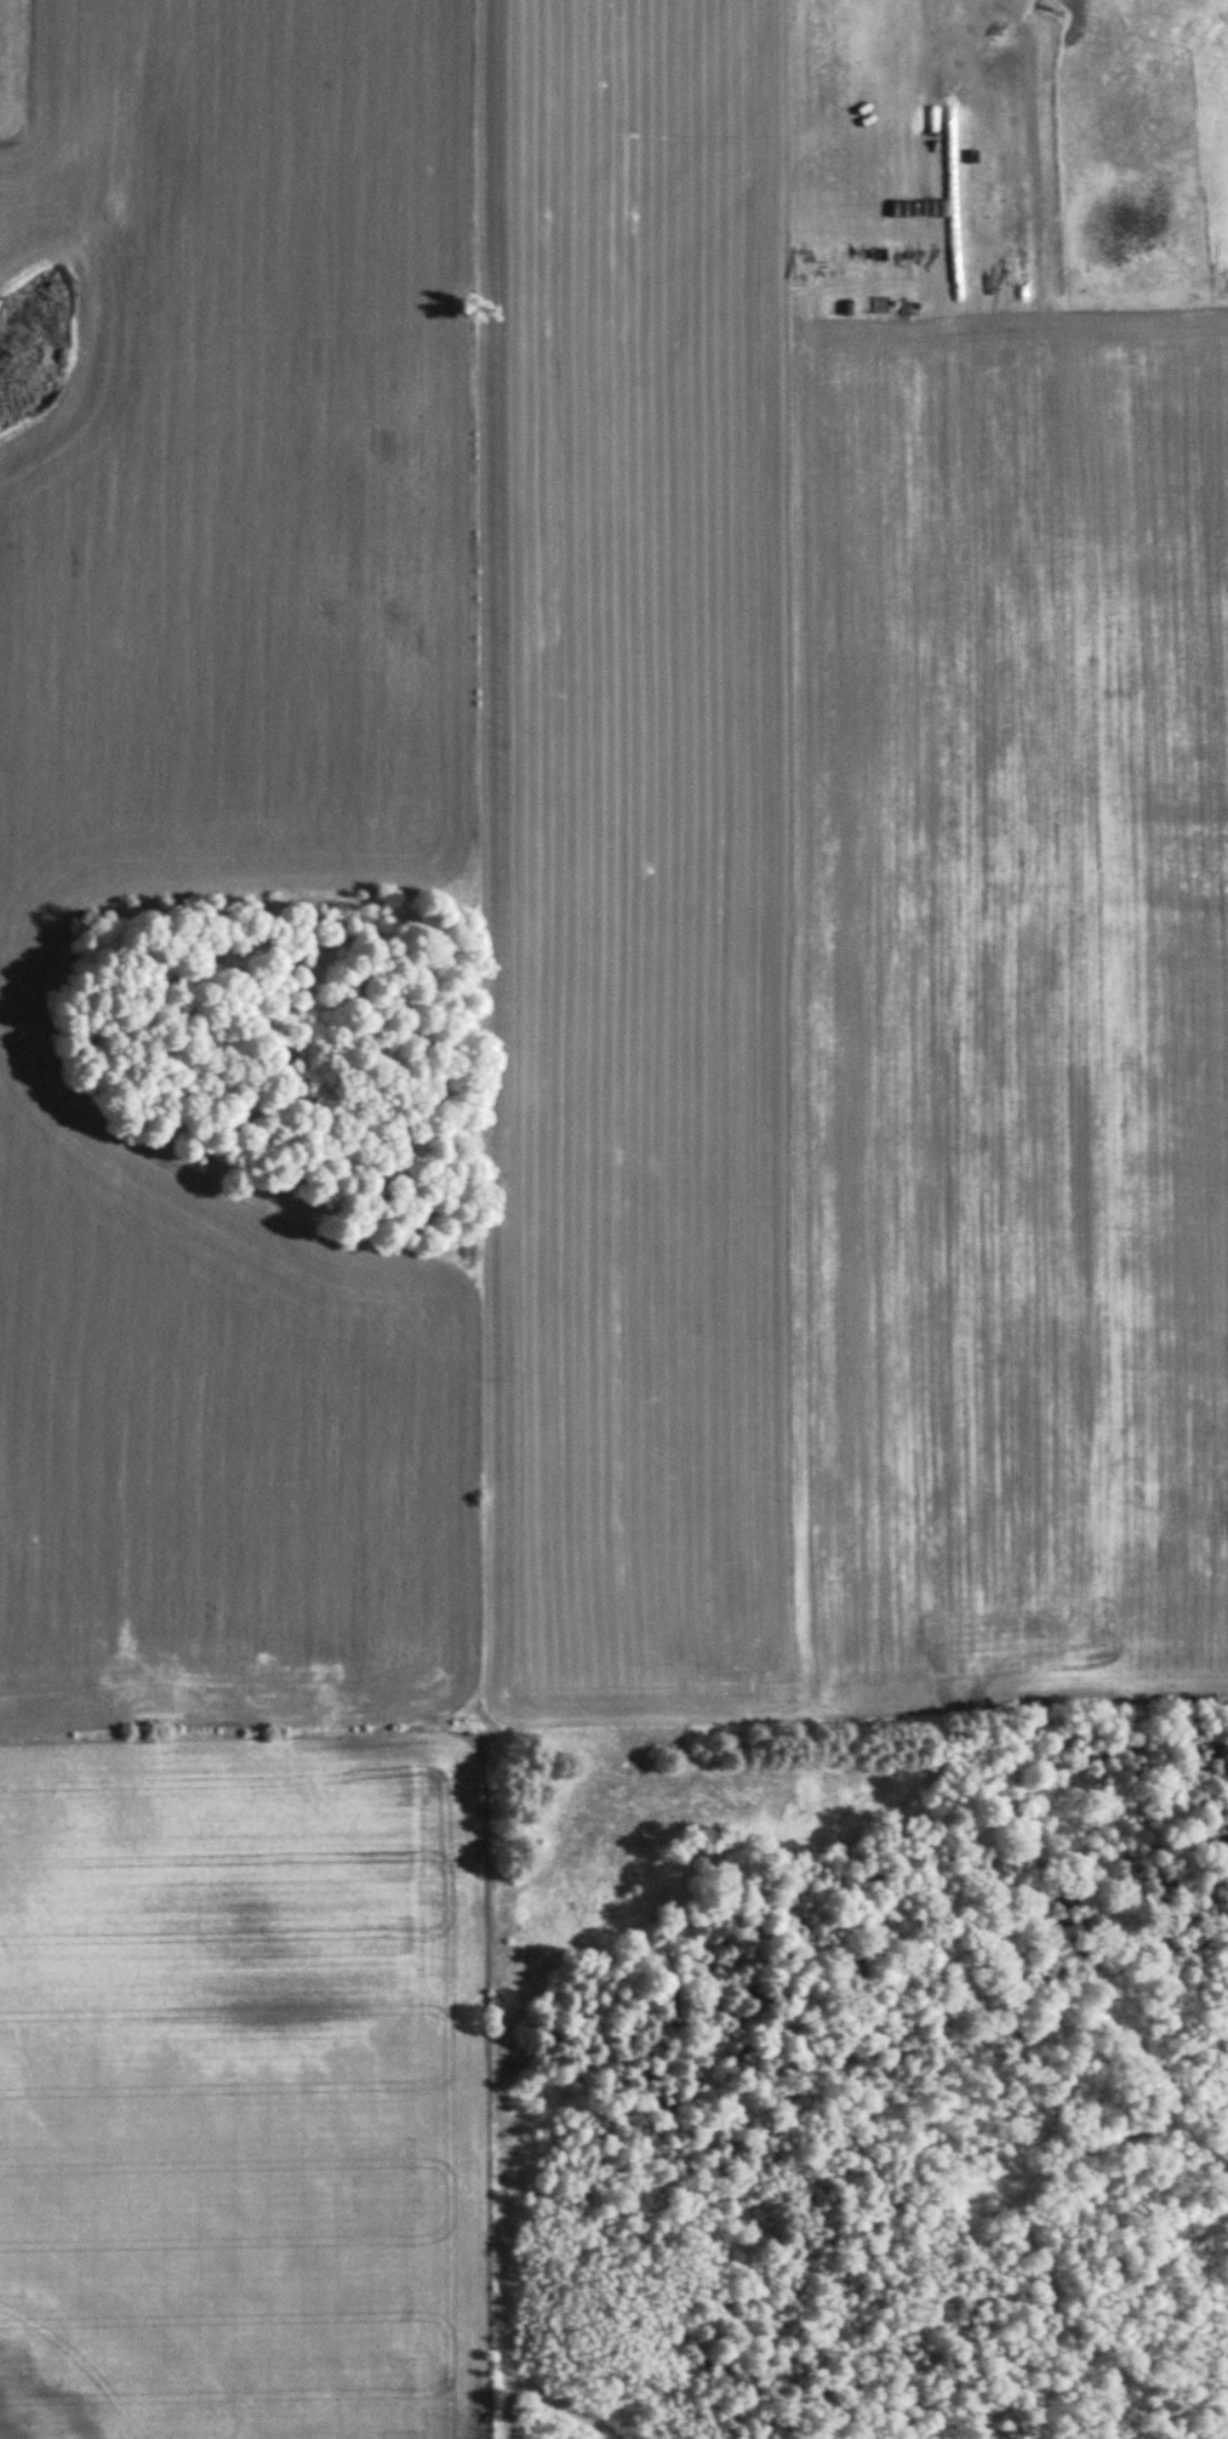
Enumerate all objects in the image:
building: (1036, 49)
building: (1015, 96)

